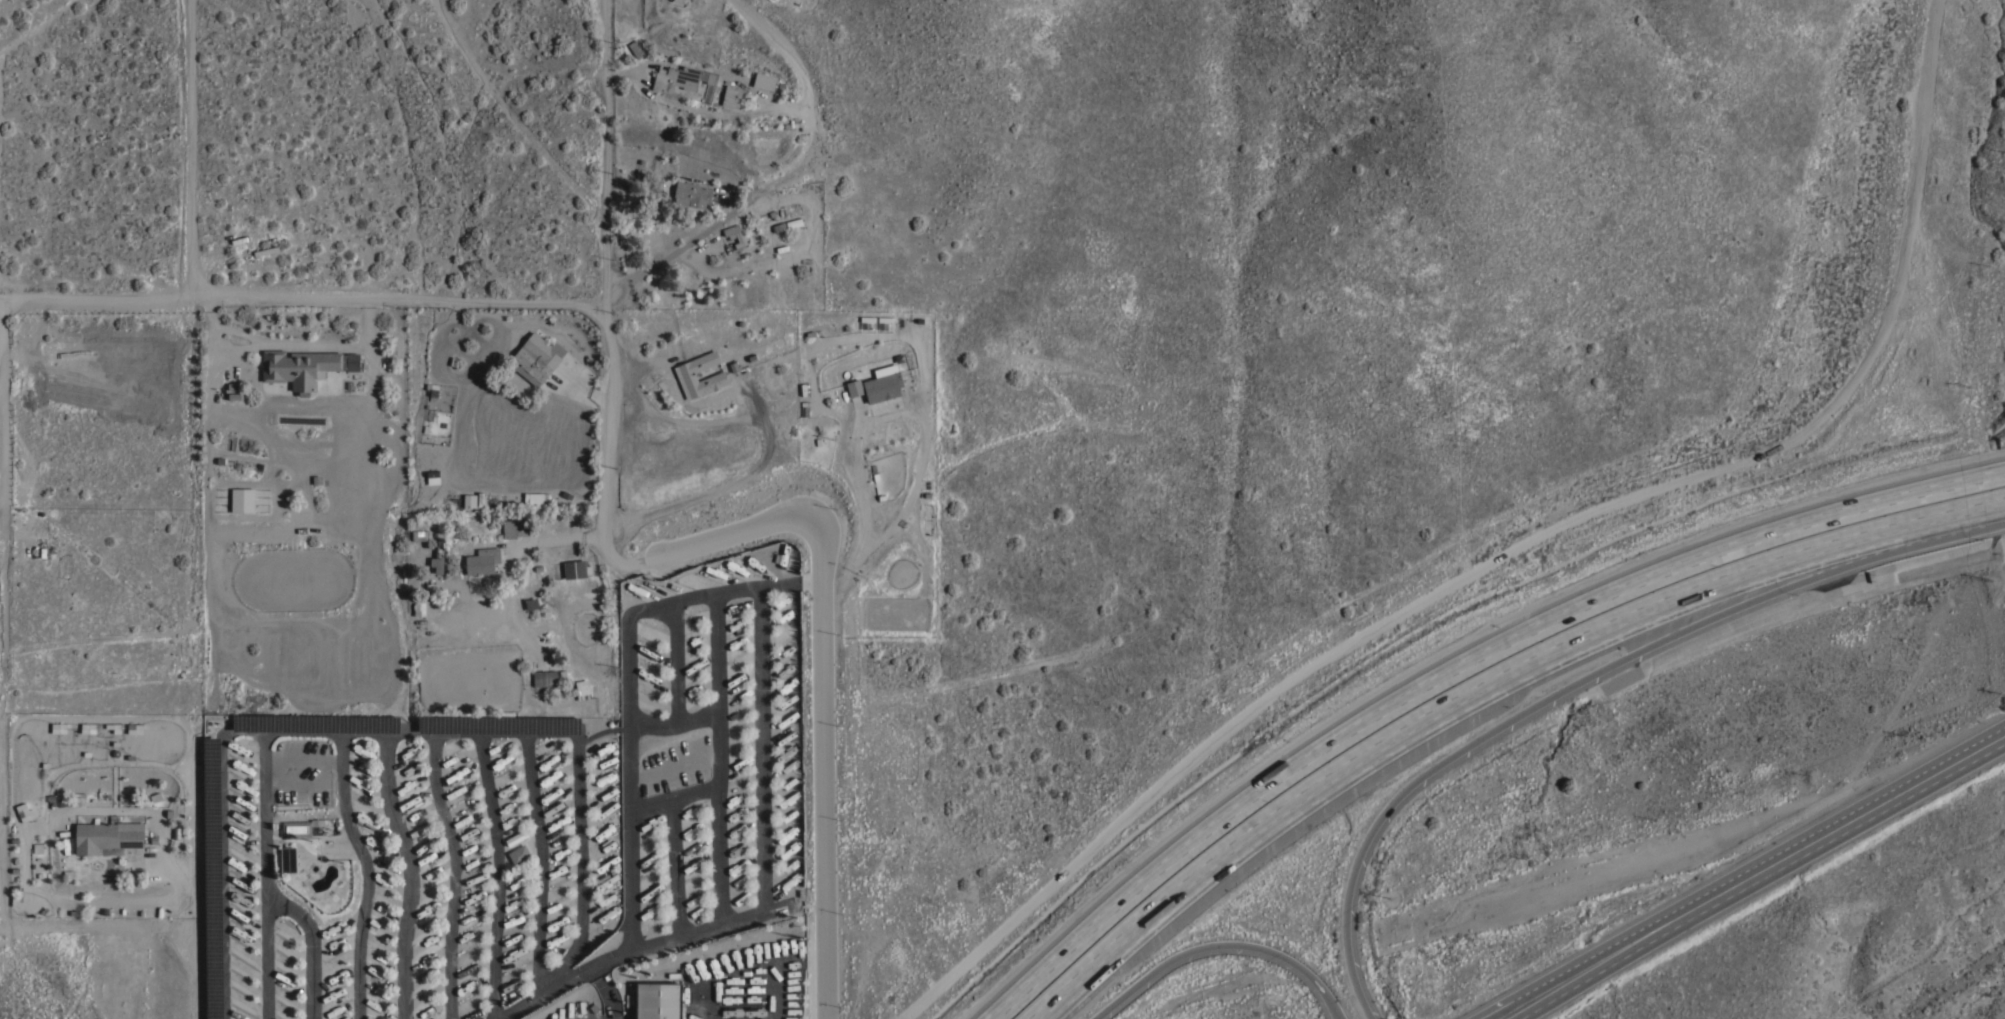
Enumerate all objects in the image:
building: (636, 47)
building: (675, 77)
building: (711, 77)
building: (763, 79)
building: (731, 95)
road: (604, 107)
road: (510, 114)
road: (187, 145)
building: (693, 192)
building: (793, 222)
building: (733, 234)
road: (680, 245)
road: (604, 257)
road: (302, 294)
building: (534, 359)
building: (304, 366)
building: (717, 376)
building: (878, 385)
building: (433, 392)
road: (0, 409)
road: (603, 454)
building: (242, 499)
building: (534, 499)
building: (469, 500)
road: (0, 526)
building: (514, 527)
building: (420, 534)
road: (578, 536)
road: (716, 537)
road: (1519, 554)
building: (438, 555)
building: (482, 560)
building: (574, 568)
road: (795, 582)
road: (741, 589)
building: (531, 602)
building: (417, 607)
road: (1455, 669)
building: (544, 677)
building: (582, 688)
road: (1484, 691)
road: (1546, 702)
road: (721, 710)
road: (675, 718)
road: (2, 722)
road: (387, 729)
road: (824, 745)
road: (628, 781)
road: (675, 792)
building: (55, 800)
building: (301, 826)
building: (107, 835)
building: (518, 853)
building: (287, 858)
road: (1740, 870)
road: (370, 872)
road: (416, 872)
road: (270, 873)
road: (458, 873)
road: (763, 891)
road: (147, 925)
road: (316, 945)
road: (1222, 945)
building: (658, 1000)

